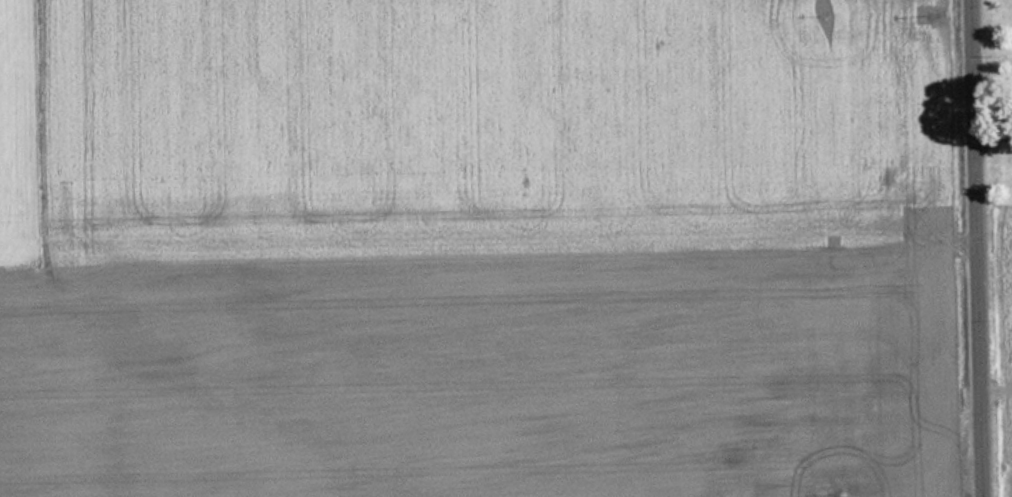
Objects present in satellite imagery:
road: (980, 248)
building: (910, 428)
building: (749, 471)

